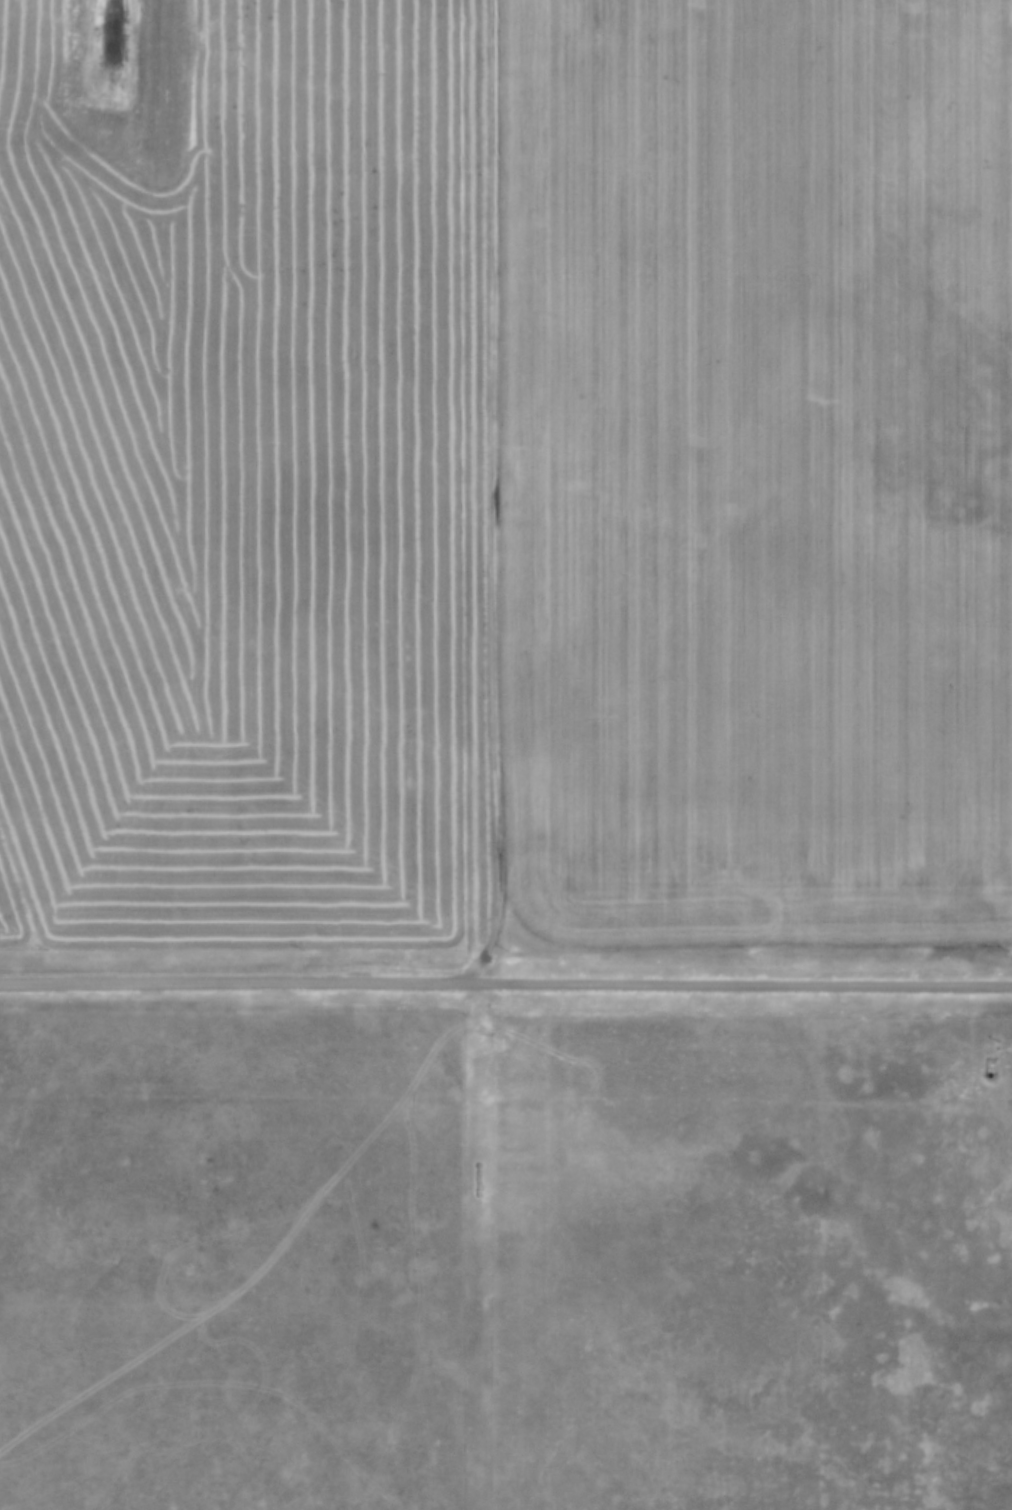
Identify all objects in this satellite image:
road: (486, 494)
road: (505, 989)

